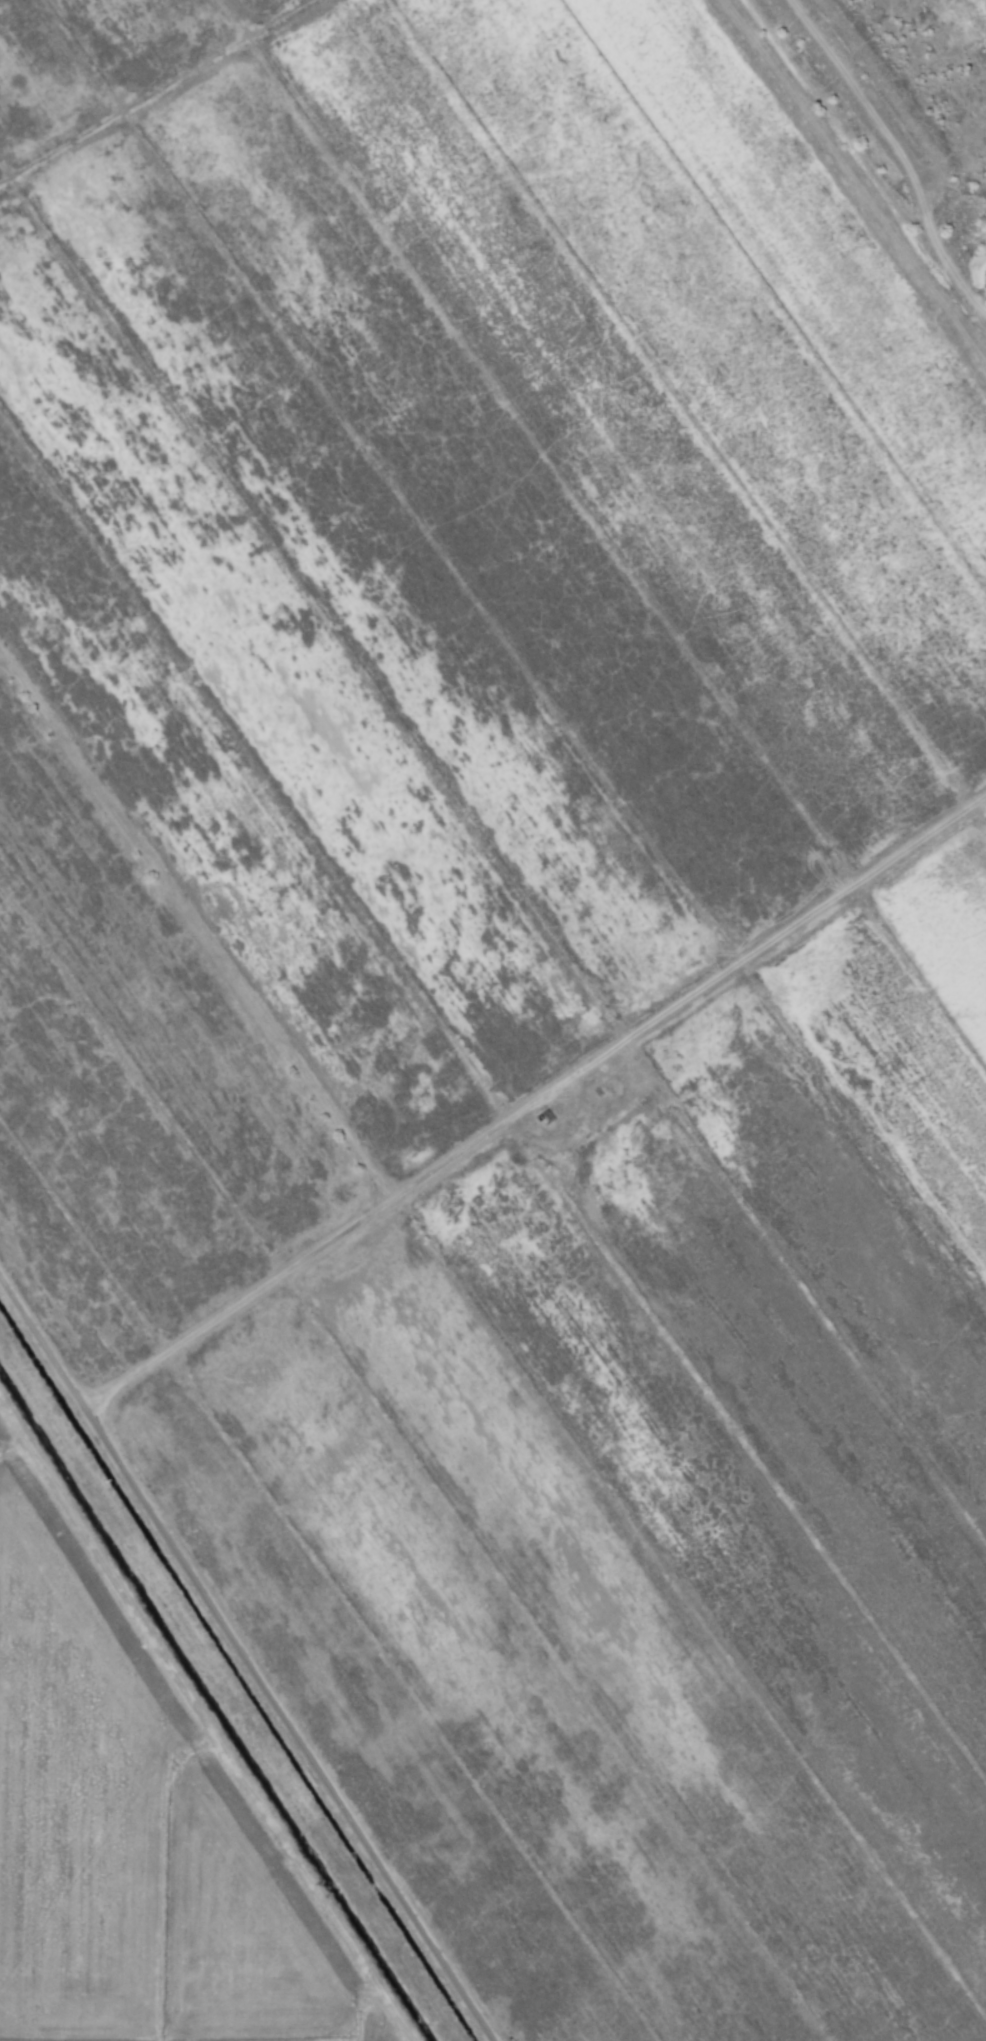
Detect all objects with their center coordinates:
road: (203, 943)
crop: (493, 1020)
road: (296, 1270)
road: (244, 1661)

